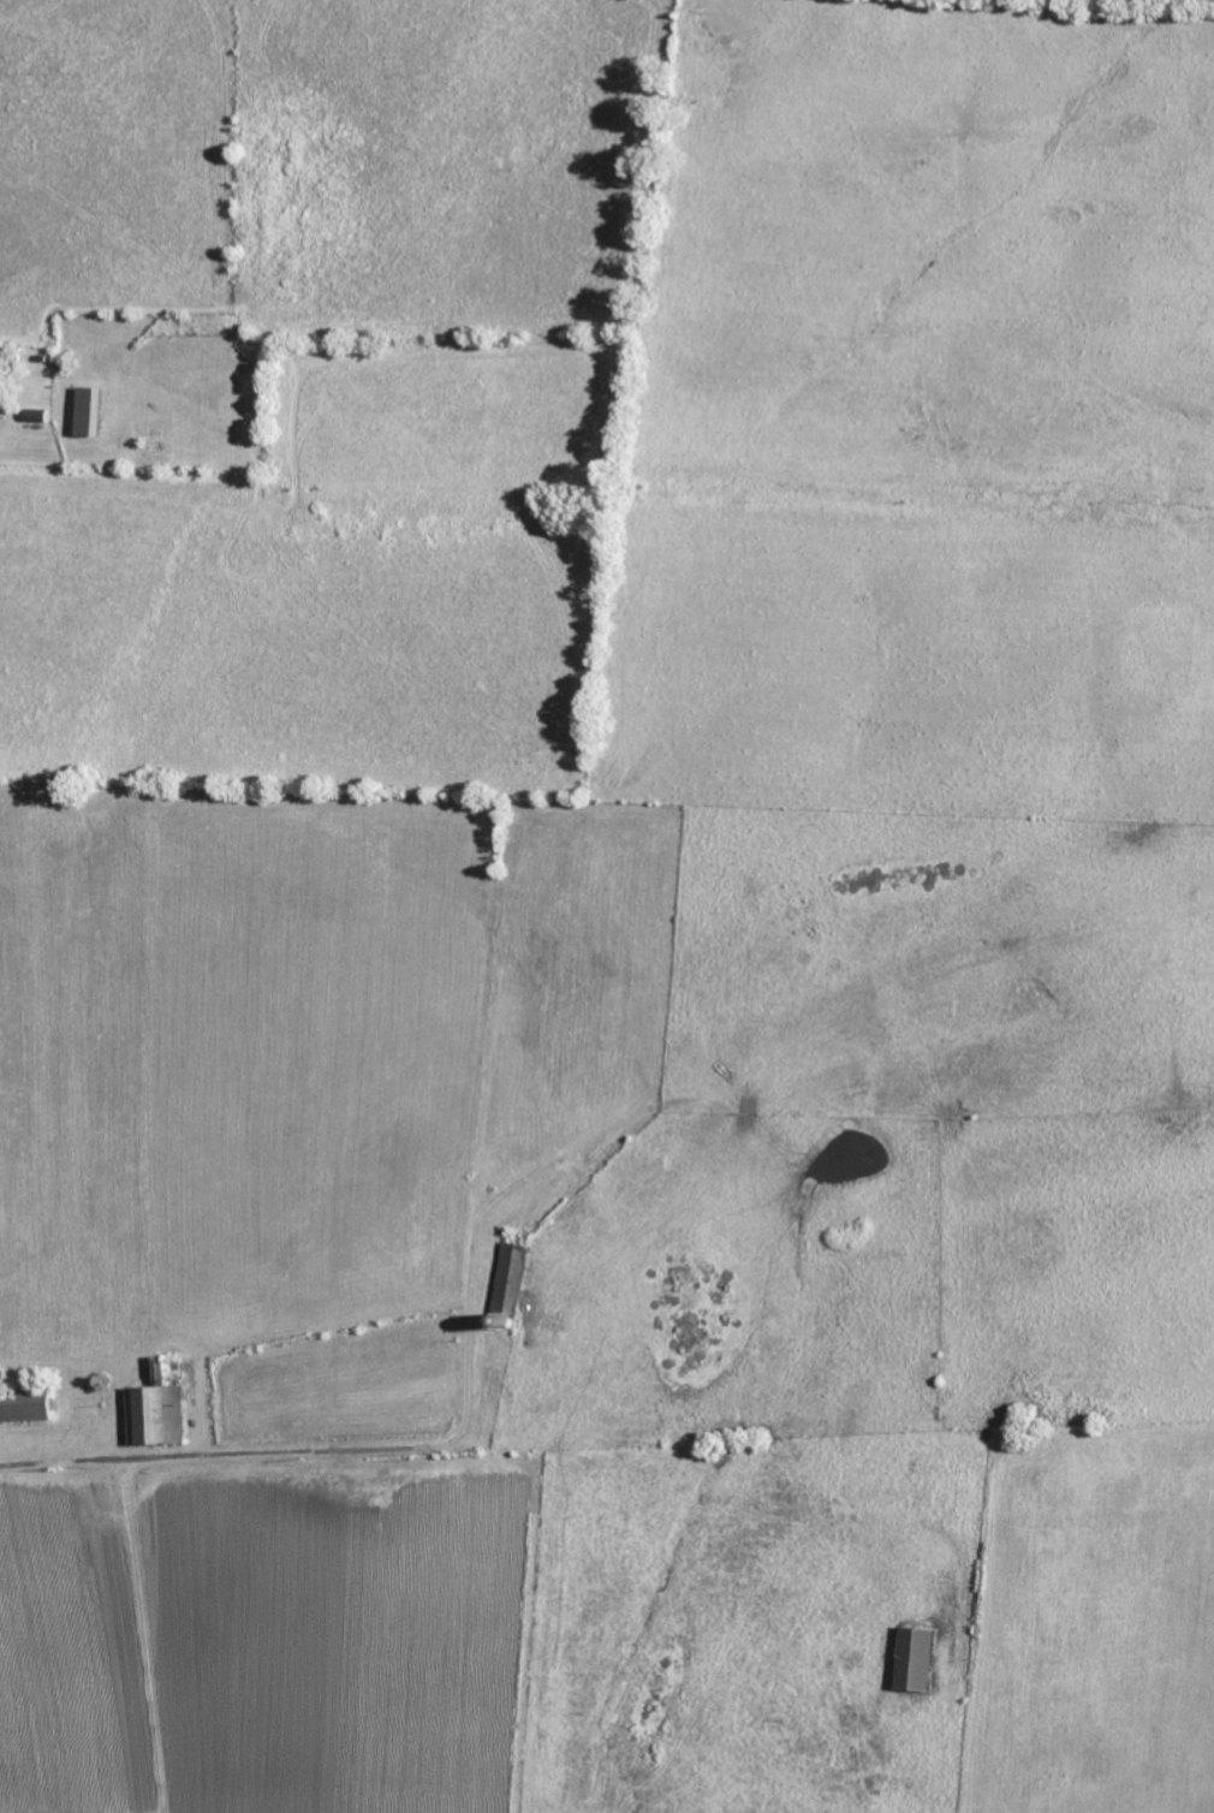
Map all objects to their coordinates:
building: (94, 414)
building: (512, 1277)
building: (31, 1407)
building: (921, 1660)

